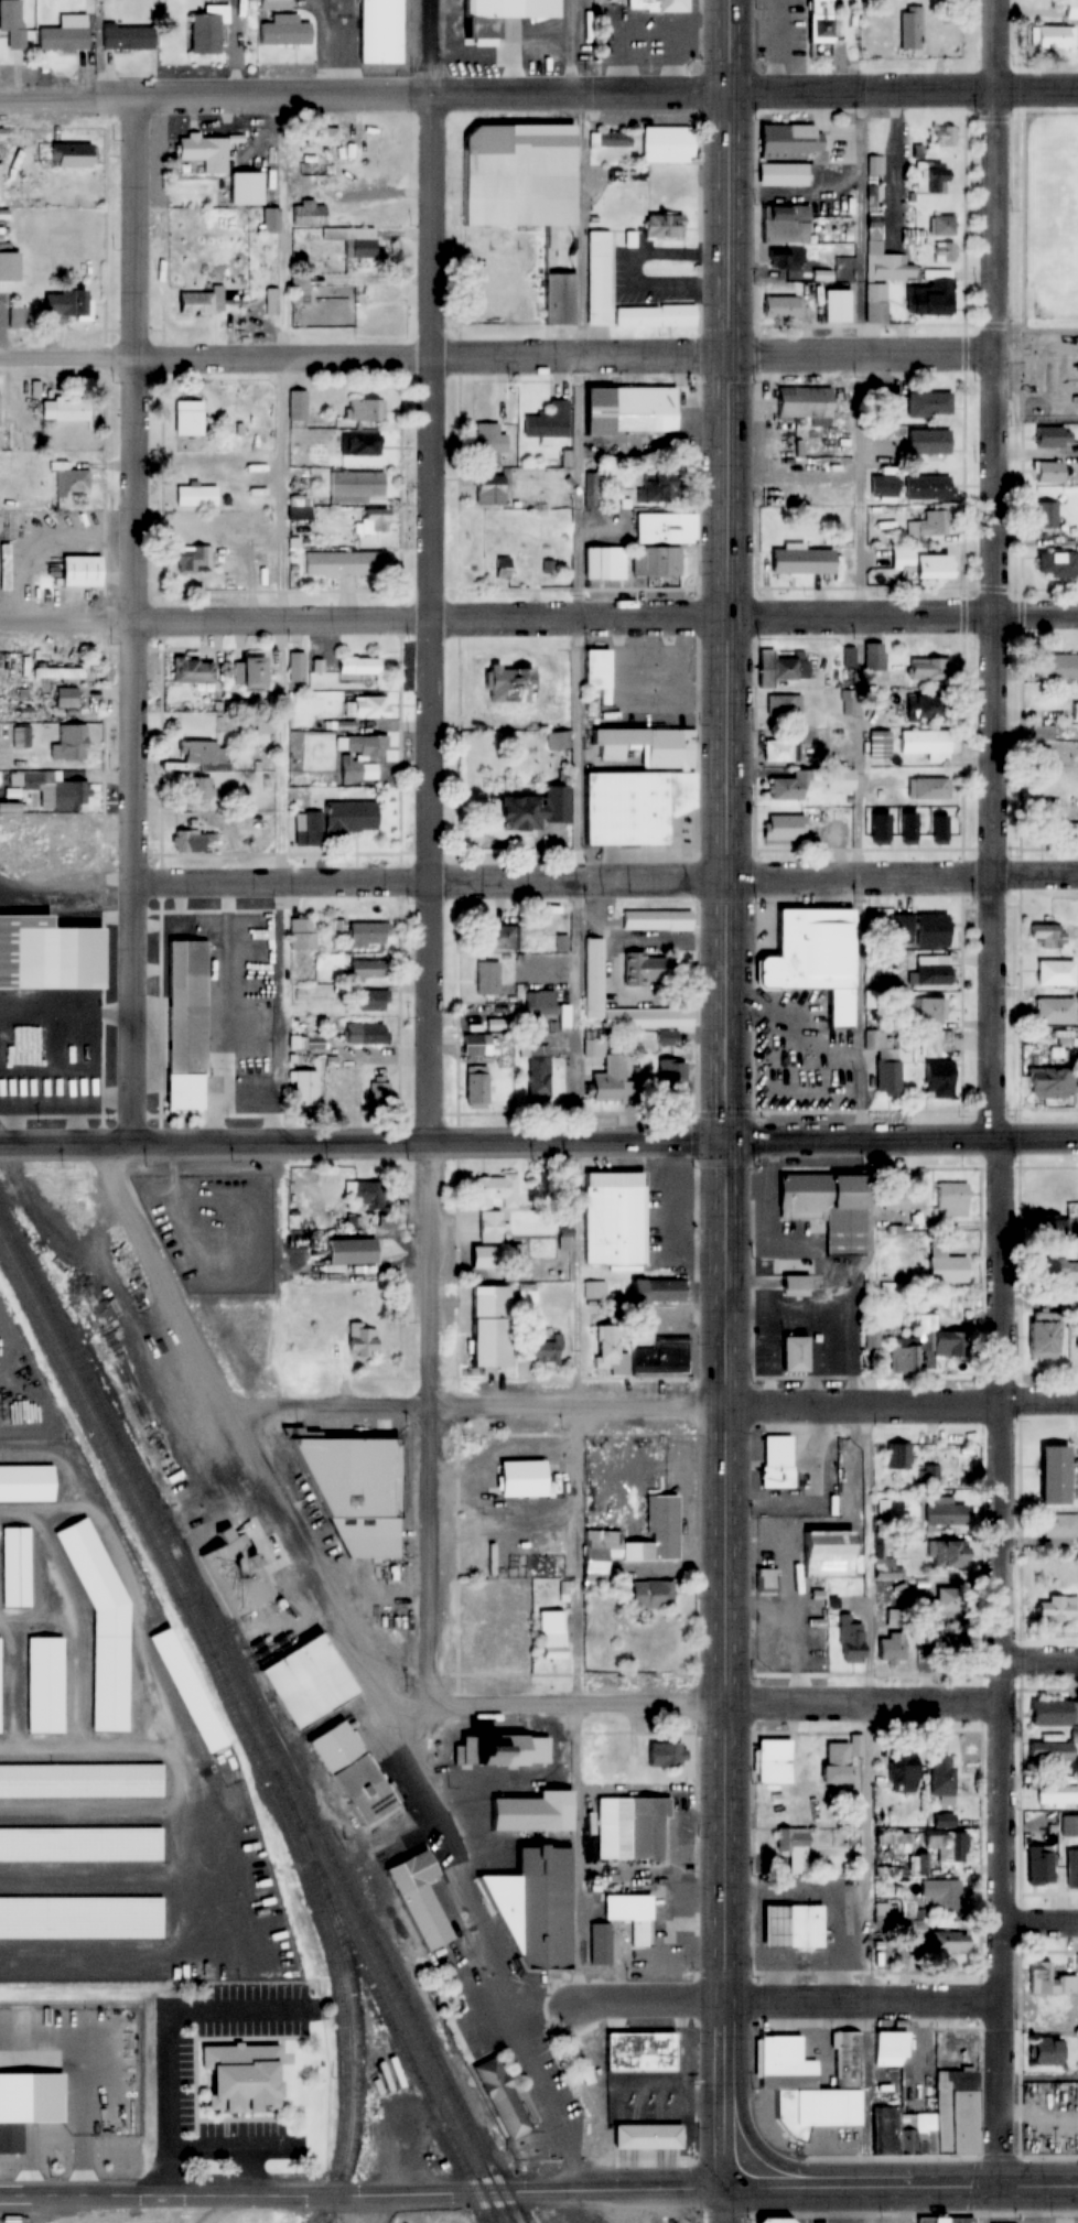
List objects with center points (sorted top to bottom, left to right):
building: (277, 4)
building: (656, 4)
building: (1070, 10)
building: (496, 14)
building: (13, 21)
building: (909, 28)
building: (817, 29)
building: (285, 31)
building: (380, 32)
building: (66, 33)
building: (207, 33)
building: (128, 36)
building: (1050, 36)
road: (904, 91)
road: (365, 96)
building: (944, 137)
building: (317, 139)
building: (611, 141)
building: (786, 141)
building: (666, 145)
building: (65, 150)
building: (204, 152)
building: (515, 175)
building: (780, 175)
building: (930, 177)
building: (244, 193)
building: (309, 215)
building: (270, 222)
building: (784, 224)
building: (661, 226)
building: (942, 227)
building: (914, 237)
building: (352, 241)
building: (945, 252)
building: (884, 257)
building: (785, 259)
building: (600, 268)
building: (930, 295)
building: (558, 299)
building: (274, 302)
building: (876, 303)
building: (72, 304)
building: (194, 304)
building: (320, 305)
building: (836, 305)
building: (781, 307)
building: (17, 319)
road: (497, 356)
traffic signals: (731, 356)
building: (805, 401)
building: (298, 404)
building: (928, 406)
building: (640, 409)
building: (64, 410)
building: (364, 410)
building: (548, 422)
building: (186, 423)
building: (1048, 436)
building: (928, 442)
building: (359, 444)
building: (1048, 473)
building: (69, 479)
building: (355, 486)
building: (656, 487)
building: (927, 487)
building: (489, 490)
building: (591, 490)
building: (195, 496)
building: (300, 507)
building: (1046, 514)
building: (371, 522)
building: (929, 524)
building: (664, 527)
building: (193, 559)
building: (268, 561)
building: (658, 561)
building: (798, 561)
building: (343, 563)
building: (592, 563)
building: (919, 563)
building: (1057, 564)
building: (503, 570)
building: (78, 571)
road: (538, 618)
road: (139, 621)
building: (357, 667)
building: (786, 667)
building: (1058, 667)
building: (297, 668)
building: (927, 670)
building: (193, 671)
building: (56, 673)
building: (595, 673)
building: (248, 675)
building: (505, 686)
building: (65, 698)
building: (366, 708)
building: (785, 708)
building: (927, 709)
building: (1074, 712)
building: (265, 726)
building: (1042, 734)
building: (22, 737)
building: (559, 741)
building: (73, 743)
building: (881, 744)
building: (925, 744)
road: (285, 751)
building: (777, 751)
building: (203, 755)
building: (362, 757)
building: (636, 787)
building: (787, 788)
building: (200, 789)
building: (929, 789)
building: (69, 797)
building: (528, 811)
building: (341, 818)
building: (783, 828)
building: (908, 828)
building: (880, 829)
building: (1058, 831)
building: (193, 841)
road: (578, 851)
road: (431, 855)
road: (608, 880)
building: (657, 919)
building: (931, 931)
building: (302, 935)
building: (367, 935)
building: (1048, 936)
building: (496, 939)
building: (560, 942)
building: (45, 954)
building: (811, 958)
building: (648, 968)
building: (367, 970)
building: (928, 971)
building: (593, 973)
building: (1054, 973)
building: (487, 979)
building: (371, 1001)
building: (548, 1007)
building: (929, 1011)
building: (1054, 1011)
building: (185, 1023)
building: (365, 1034)
building: (876, 1040)
building: (309, 1042)
building: (935, 1043)
building: (476, 1045)
building: (538, 1070)
building: (604, 1075)
building: (886, 1075)
building: (673, 1078)
building: (936, 1080)
building: (476, 1081)
building: (1047, 1083)
building: (303, 1088)
road: (730, 1090)
building: (380, 1091)
road: (998, 1091)
road: (864, 1137)
traffic signals: (730, 1143)
road: (539, 1145)
building: (497, 1190)
building: (369, 1195)
building: (951, 1199)
building: (895, 1200)
building: (826, 1208)
building: (608, 1215)
building: (322, 1221)
building: (491, 1227)
building: (353, 1252)
building: (487, 1258)
building: (945, 1267)
building: (1053, 1267)
building: (794, 1286)
building: (657, 1289)
building: (593, 1291)
building: (494, 1326)
building: (1077, 1334)
building: (1042, 1336)
building: (872, 1338)
building: (363, 1340)
building: (938, 1342)
building: (548, 1347)
building: (790, 1350)
building: (610, 1351)
building: (664, 1357)
building: (903, 1359)
road: (903, 1400)
road: (515, 1402)
railway: (107, 1421)
railway: (101, 1435)
building: (902, 1456)
building: (777, 1465)
building: (1052, 1475)
building: (935, 1477)
building: (526, 1478)
building: (28, 1483)
building: (358, 1490)
building: (946, 1510)
building: (1059, 1525)
building: (635, 1540)
building: (946, 1553)
building: (823, 1554)
building: (884, 1554)
building: (15, 1566)
building: (244, 1574)
building: (767, 1579)
building: (923, 1585)
building: (655, 1594)
building: (948, 1599)
building: (96, 1605)
building: (1057, 1608)
building: (895, 1618)
building: (552, 1633)
building: (931, 1637)
building: (851, 1641)
building: (676, 1644)
building: (891, 1648)
road: (1038, 1657)
building: (313, 1682)
building: (45, 1684)
building: (0, 1685)
building: (190, 1691)
road: (511, 1704)
road: (788, 1704)
building: (1048, 1713)
building: (672, 1749)
building: (503, 1751)
building: (1049, 1752)
building: (772, 1761)
building: (839, 1761)
building: (356, 1773)
building: (902, 1778)
building: (941, 1779)
building: (1057, 1794)
building: (553, 1811)
building: (942, 1821)
building: (1069, 1826)
building: (633, 1828)
building: (945, 1845)
building: (795, 1849)
building: (918, 1864)
building: (1038, 1865)
building: (1071, 1869)
building: (941, 1896)
building: (538, 1908)
building: (886, 1913)
building: (428, 1917)
building: (634, 1917)
road: (1039, 1919)
railway: (321, 1921)
building: (789, 1925)
railway: (365, 1928)
railway: (356, 1929)
building: (945, 1943)
building: (601, 1944)
building: (1048, 1981)
road: (786, 2001)
building: (1049, 2006)
railway: (387, 2016)
road: (164, 2021)
building: (890, 2044)
road: (528, 2049)
building: (643, 2051)
building: (1045, 2051)
railway: (356, 2061)
building: (785, 2064)
building: (247, 2078)
road: (1039, 2078)
building: (502, 2096)
building: (946, 2118)
building: (884, 2119)
building: (649, 2136)
road: (231, 2149)
road: (250, 2170)
road: (902, 2183)
road: (364, 2191)
road: (729, 2202)
building: (946, 2220)
building: (774, 2221)

